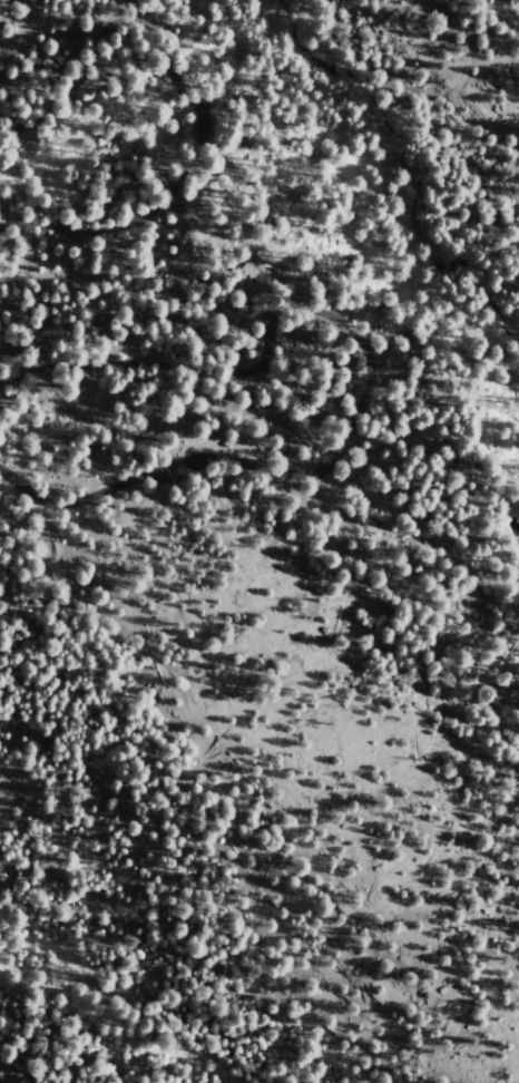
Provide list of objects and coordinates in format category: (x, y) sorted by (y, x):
road: (85, 65)
road: (169, 69)
road: (150, 209)
building: (133, 256)
road: (265, 352)
building: (140, 443)
road: (159, 467)
parking lot: (175, 476)
road: (424, 538)
road: (518, 587)

